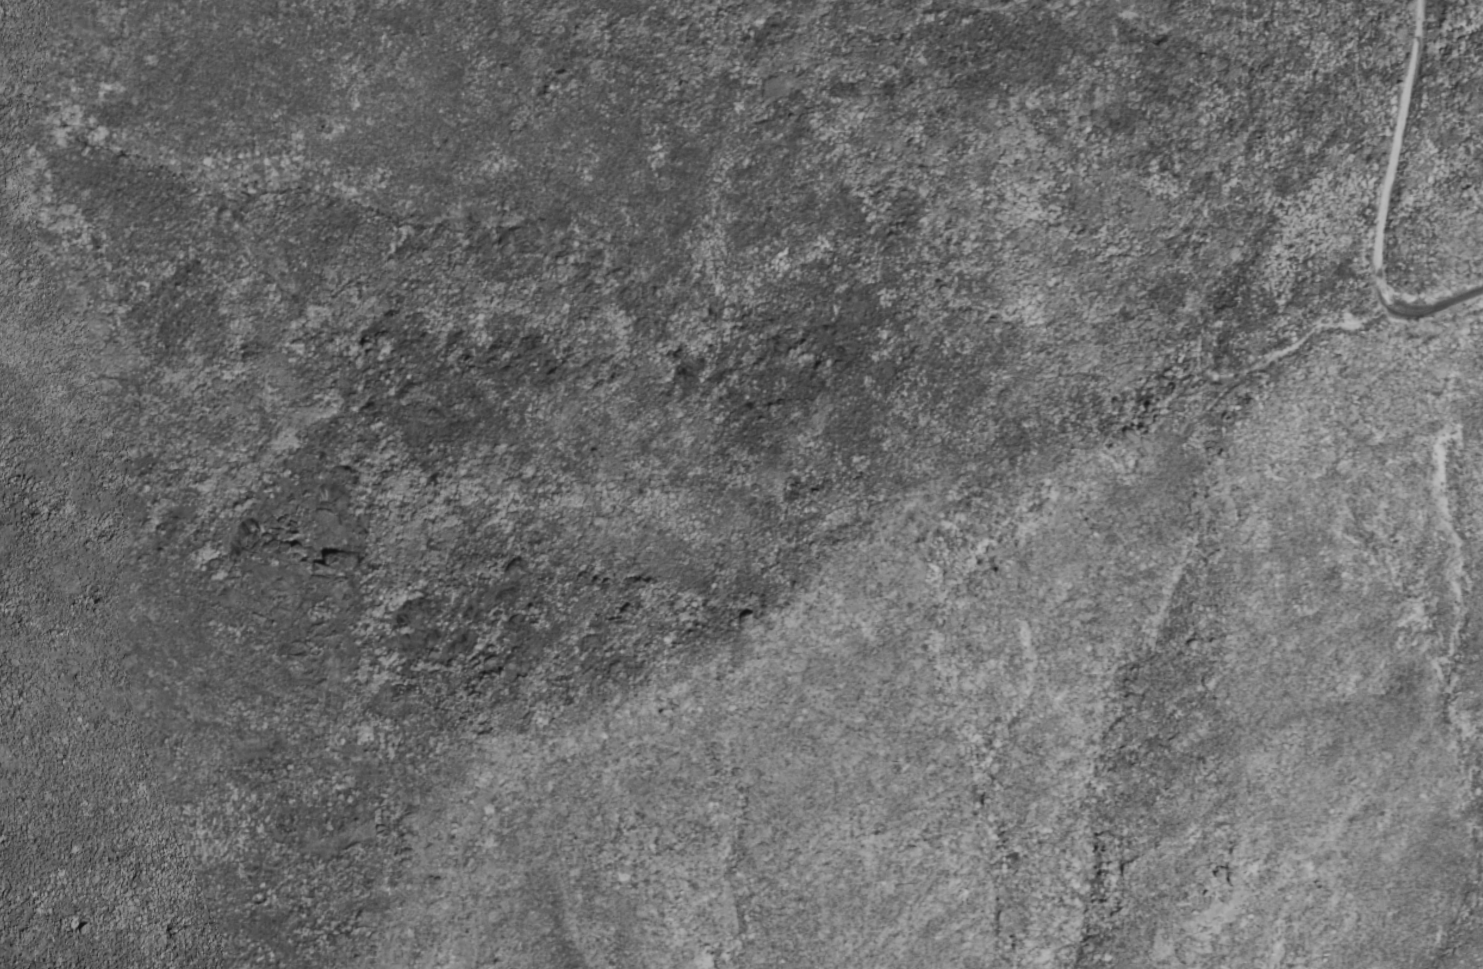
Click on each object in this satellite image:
road: (1380, 202)
road: (1258, 364)

